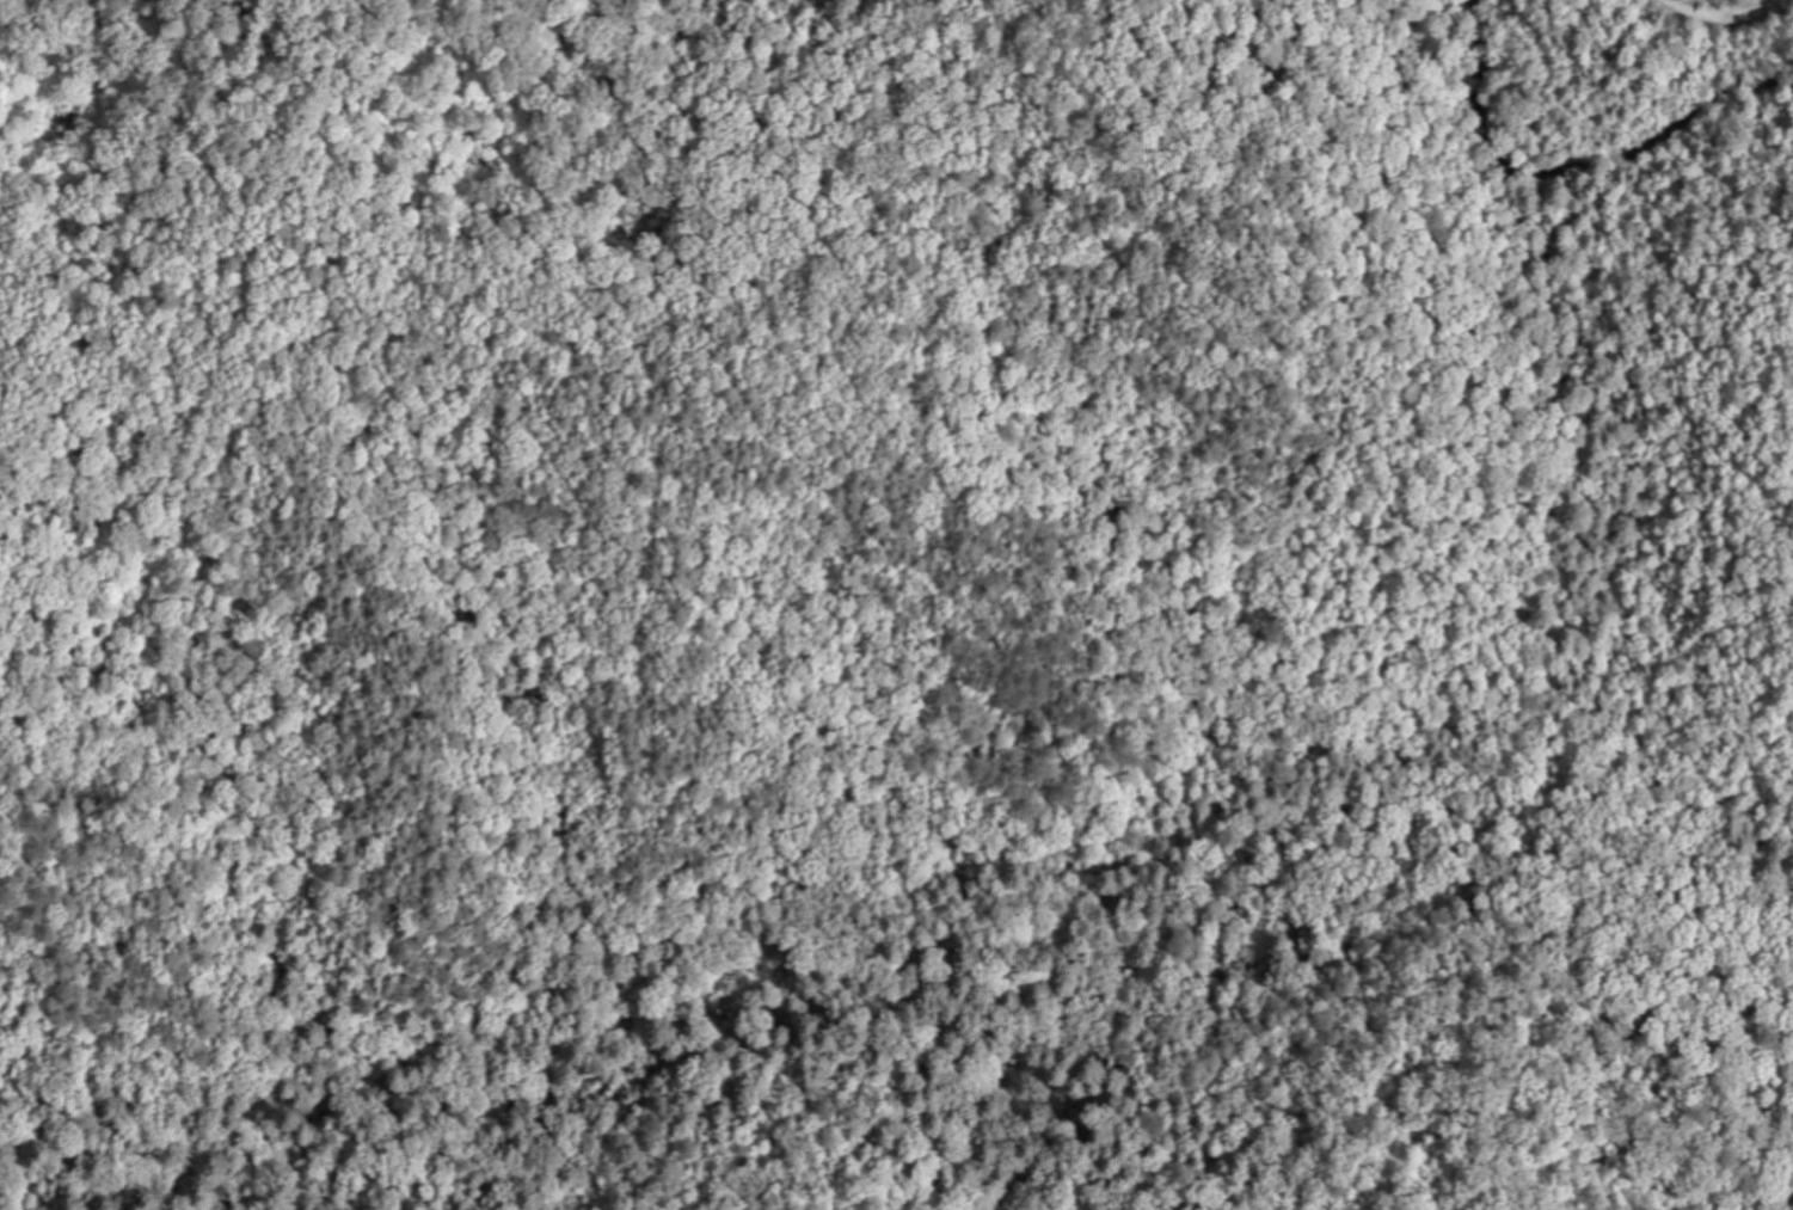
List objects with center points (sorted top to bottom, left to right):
road: (1724, 10)
road: (1534, 198)

